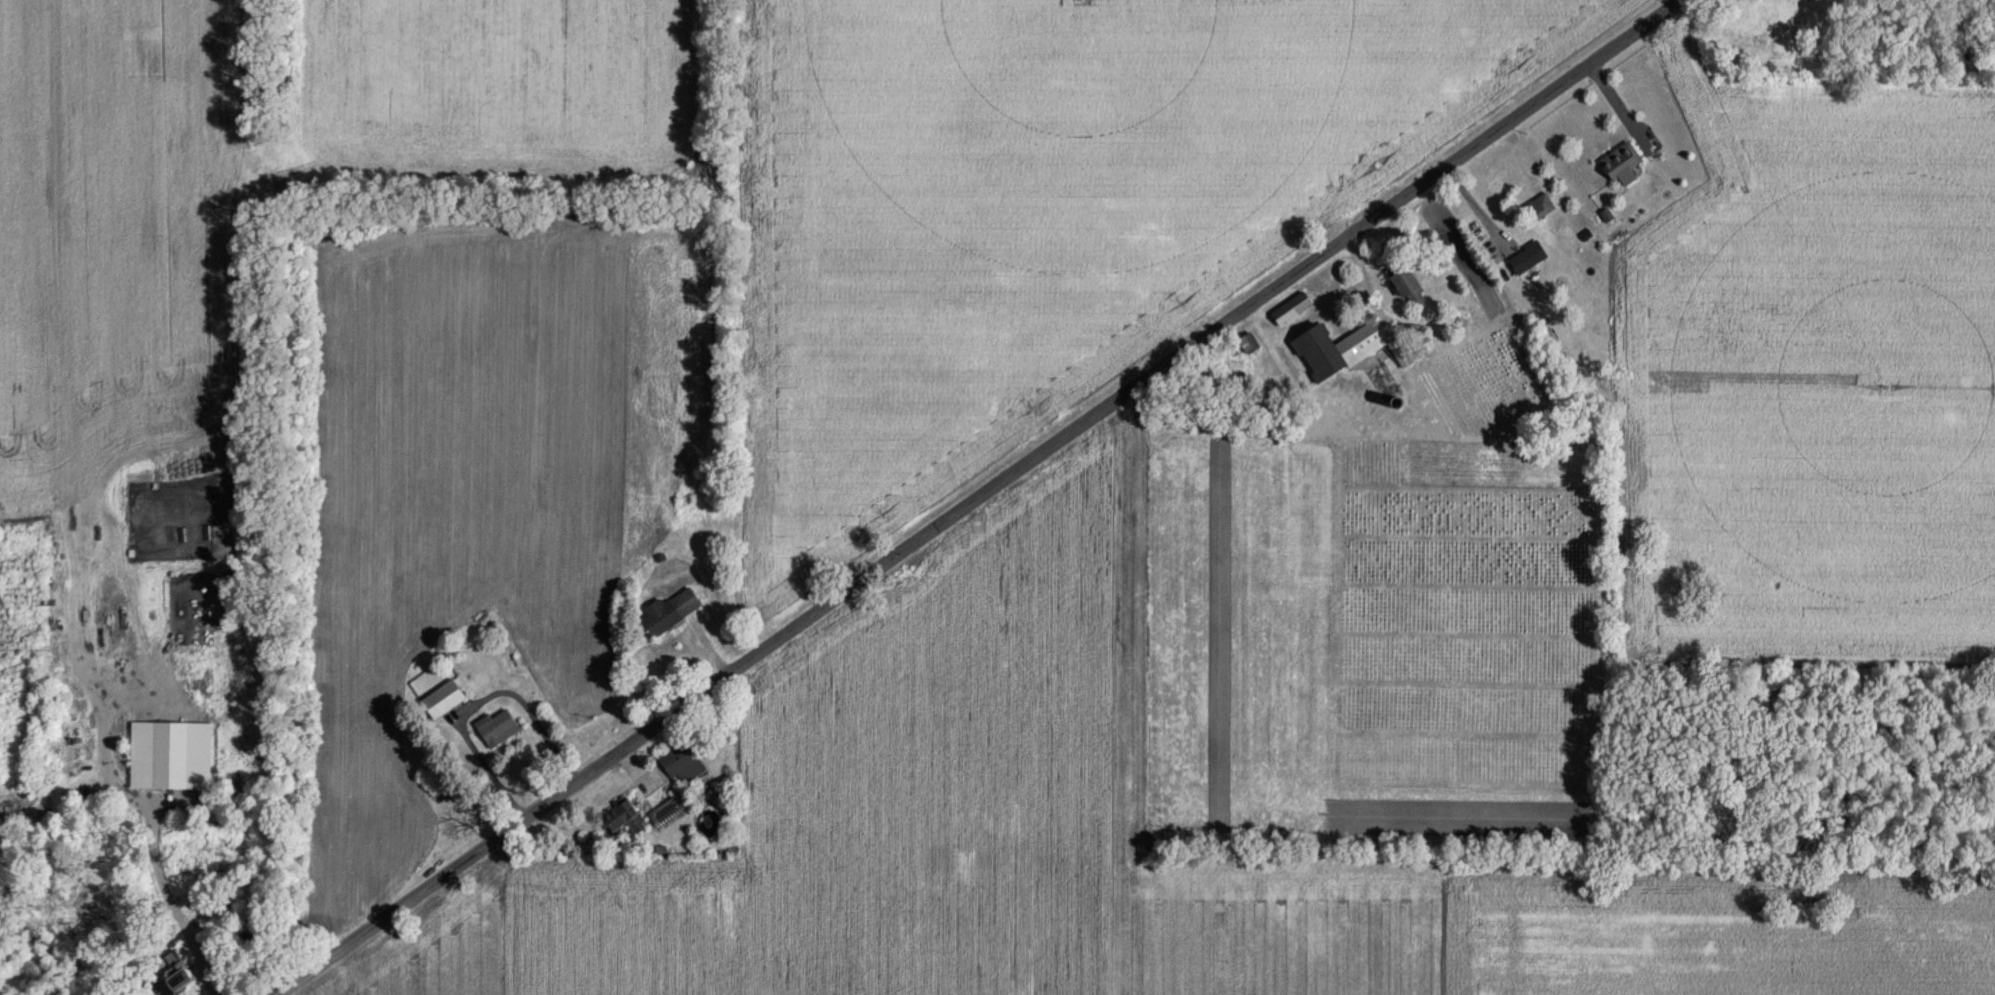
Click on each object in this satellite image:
building: (1781, 1)
road: (1616, 102)
building: (1623, 162)
road: (1475, 205)
building: (1537, 208)
building: (1292, 308)
building: (1249, 342)
building: (1346, 347)
road: (979, 497)
building: (190, 608)
building: (670, 610)
building: (486, 670)
building: (443, 698)
building: (498, 727)
road: (526, 729)
building: (170, 754)
building: (682, 762)
building: (624, 817)
road: (171, 907)
building: (174, 976)

